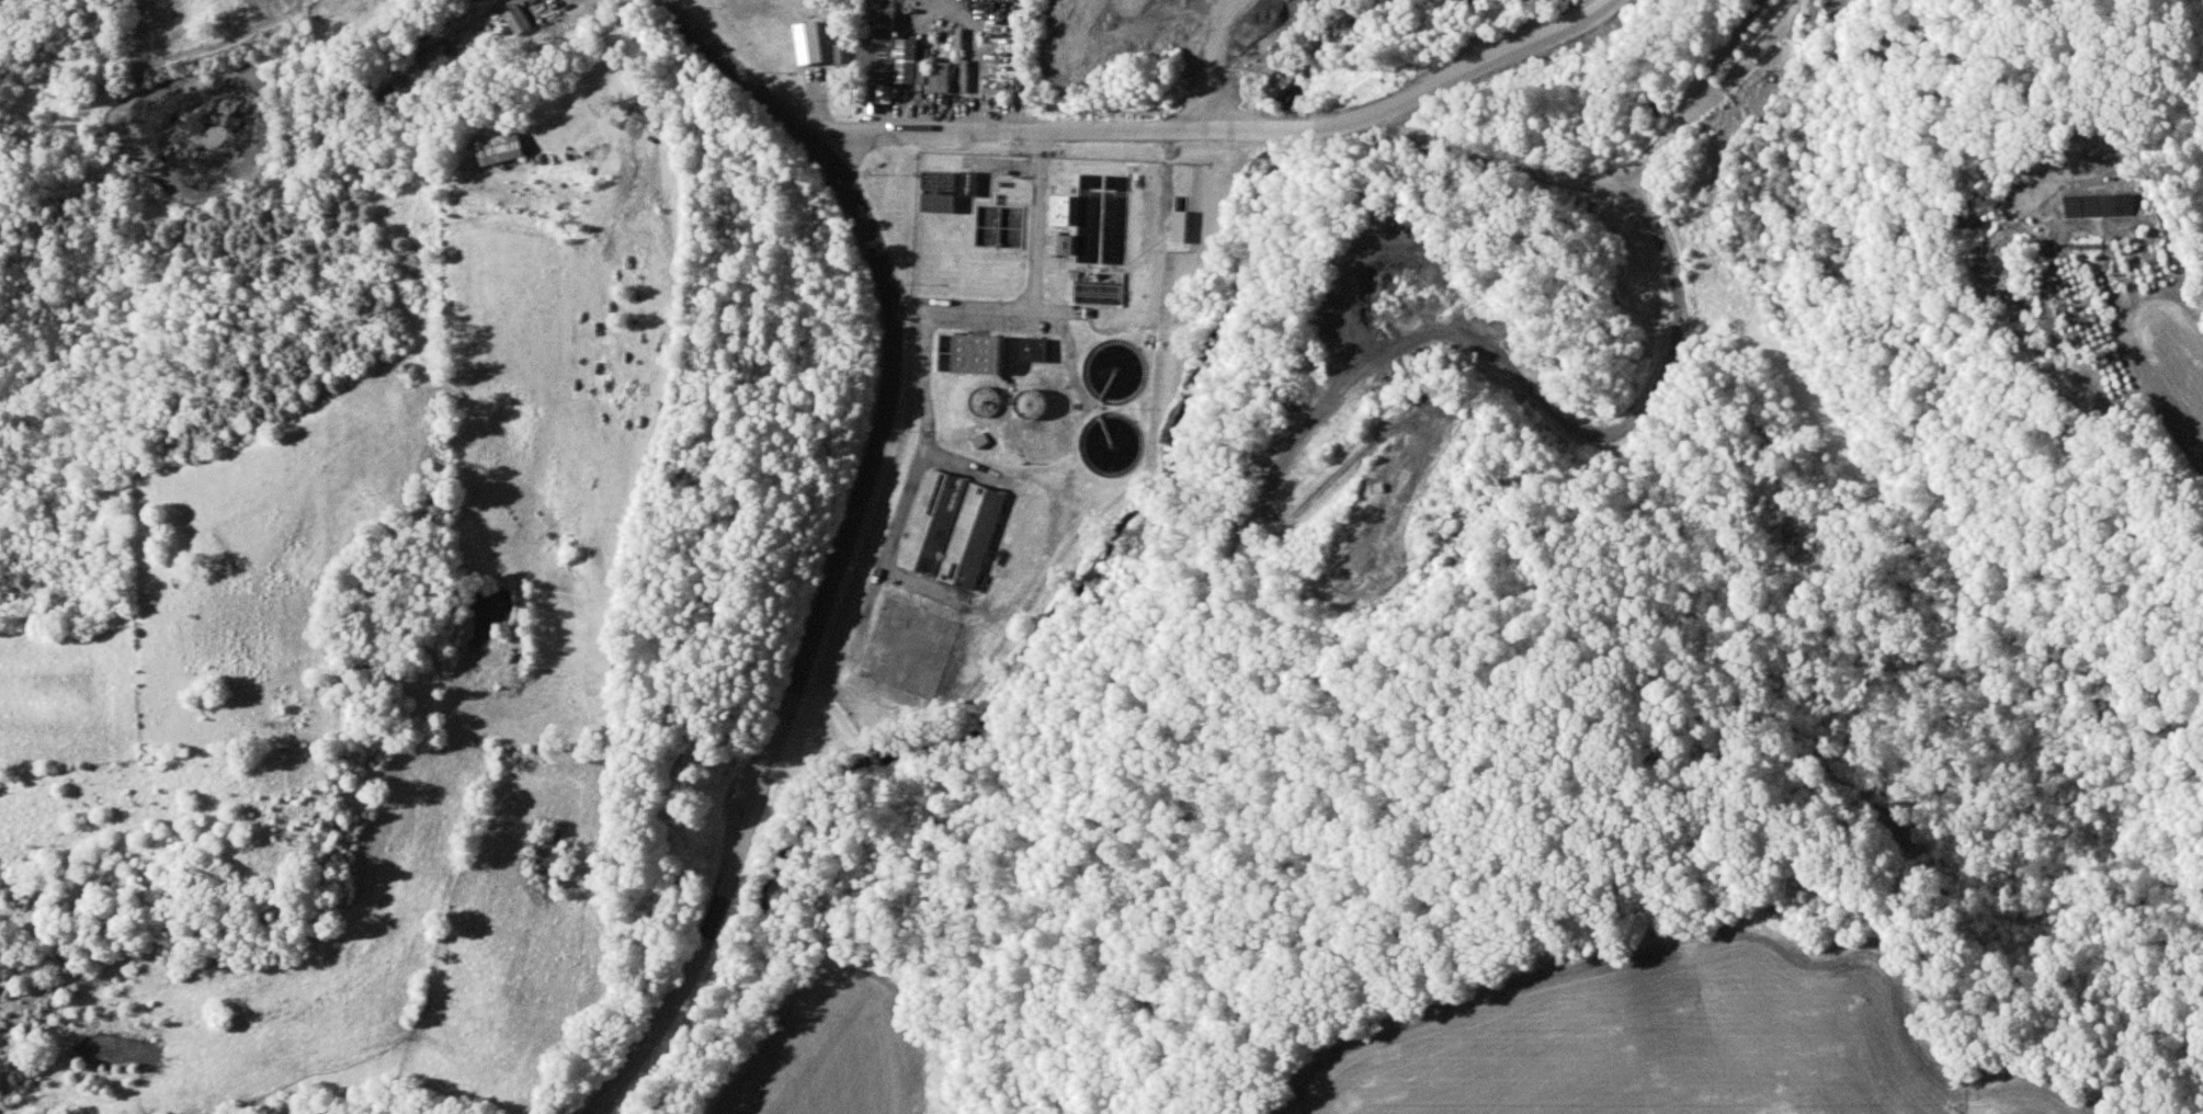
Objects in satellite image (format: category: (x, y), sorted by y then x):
road: (1456, 76)
road: (1712, 76)
road: (1055, 133)
road: (1581, 180)
wastewater plant: (1003, 413)
road: (844, 542)

